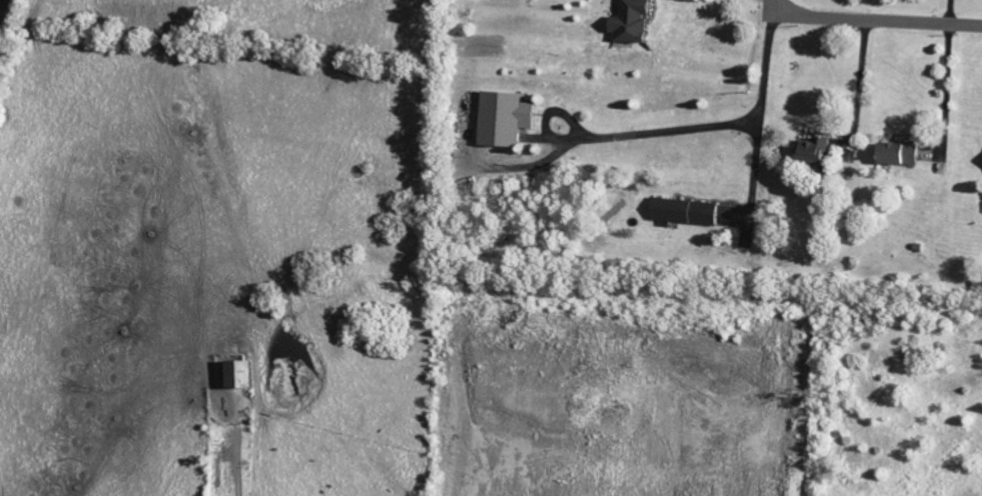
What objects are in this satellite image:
road: (866, 19)
building: (637, 21)
building: (509, 118)
road: (759, 122)
road: (616, 137)
building: (817, 151)
building: (904, 153)
building: (688, 211)
building: (246, 375)

